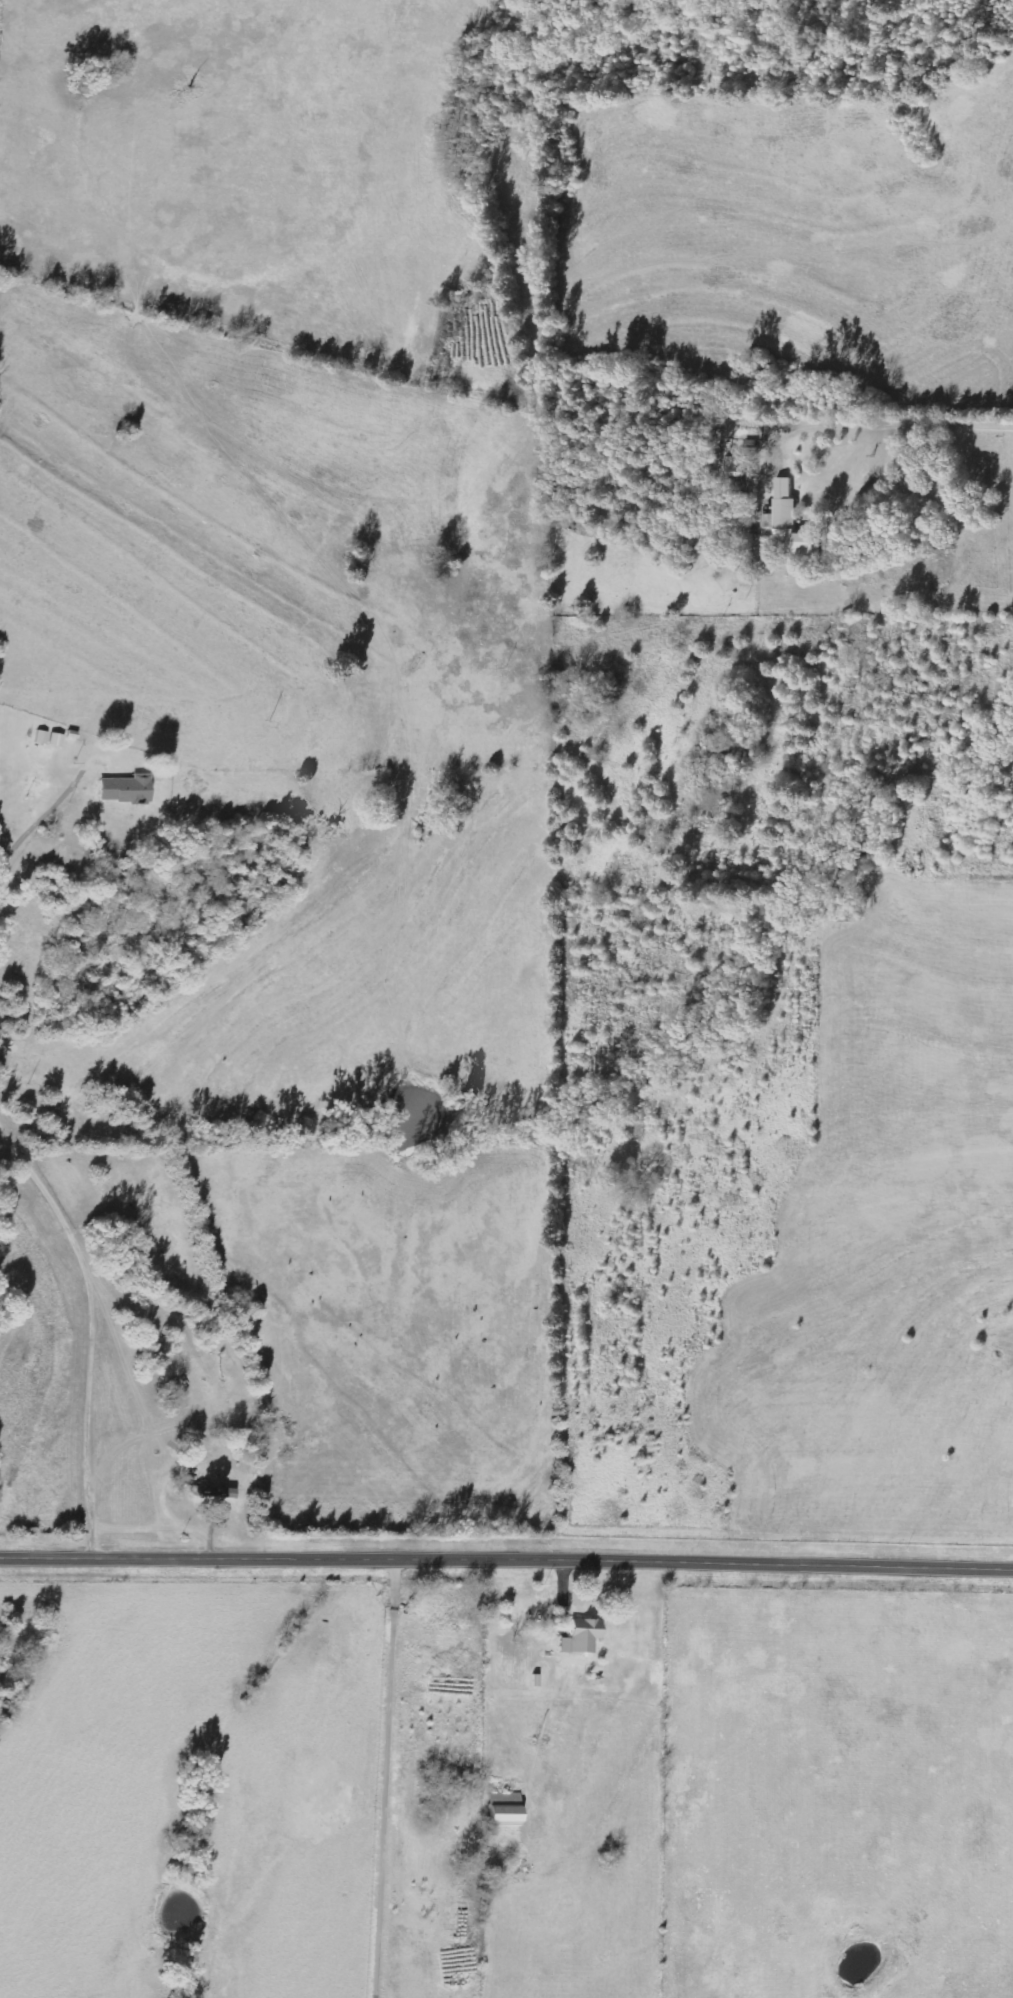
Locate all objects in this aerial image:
building: (736, 467)
building: (791, 522)
road: (763, 551)
building: (57, 740)
building: (126, 789)
road: (28, 817)
road: (90, 1327)
building: (211, 1492)
road: (506, 1561)
building: (581, 1636)
road: (382, 1779)
building: (505, 1809)

